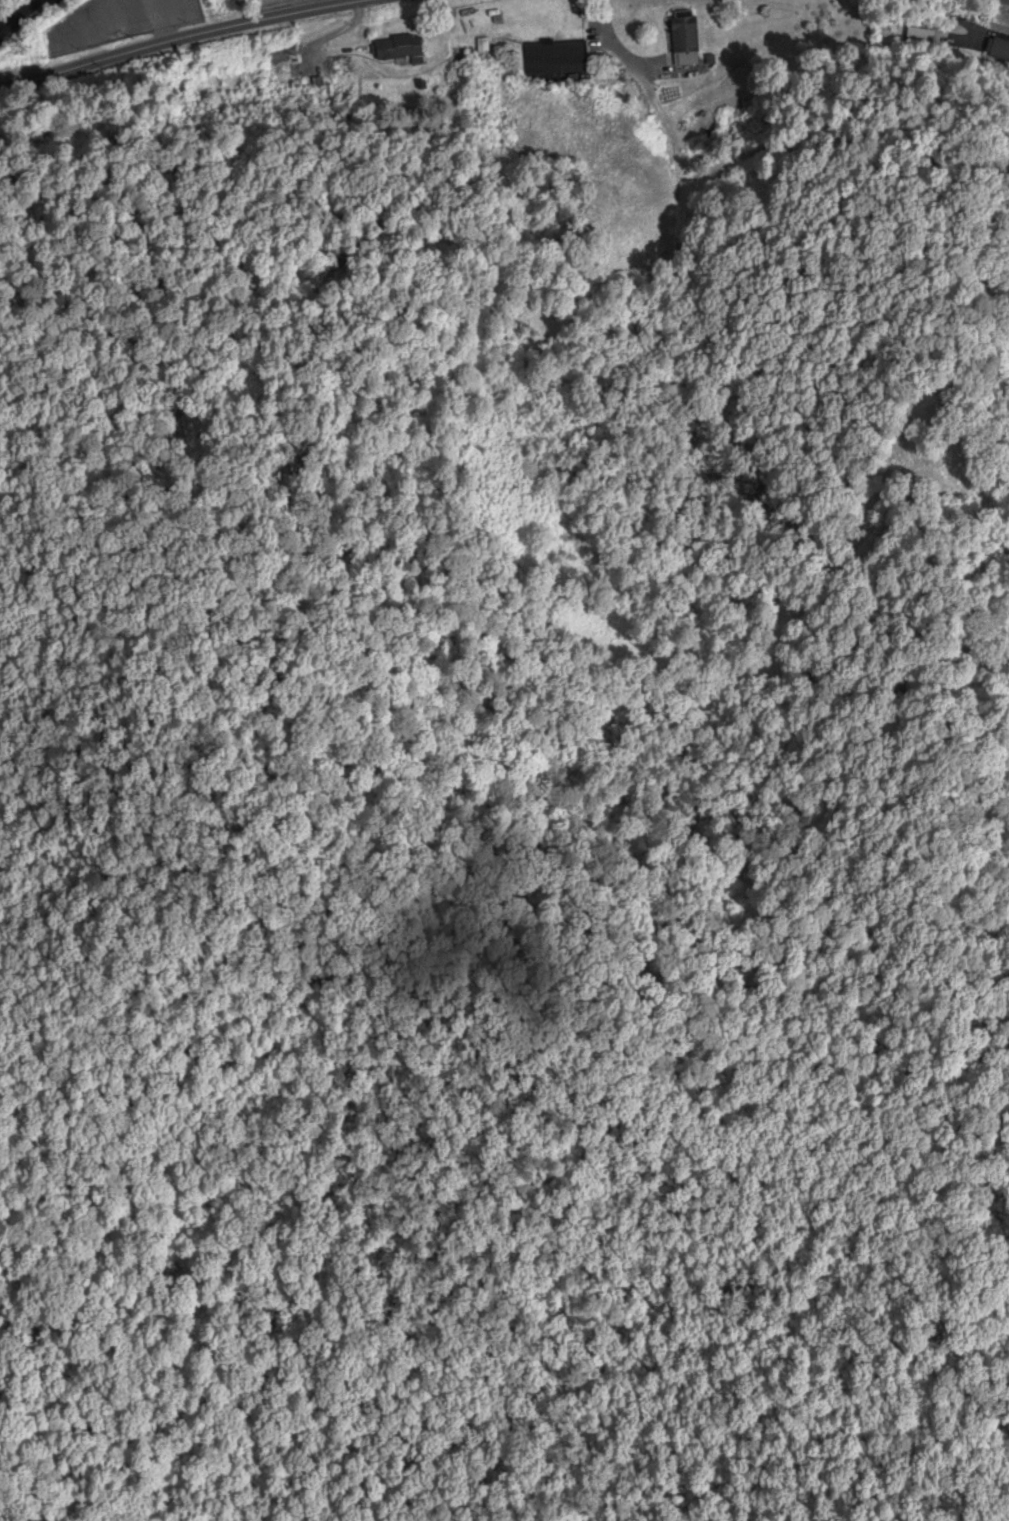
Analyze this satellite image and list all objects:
road: (996, 2)
river: (25, 18)
building: (924, 40)
road: (190, 42)
building: (684, 42)
building: (999, 51)
building: (553, 62)
building: (338, 68)

